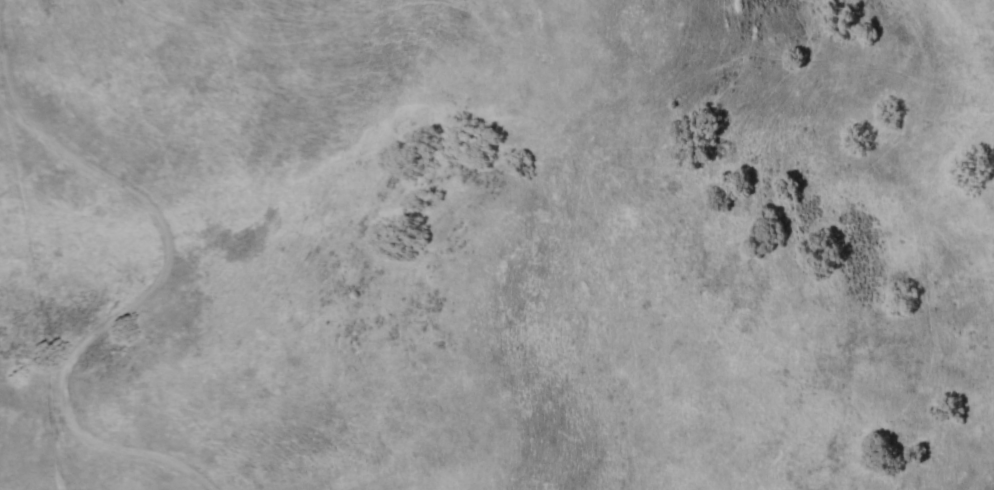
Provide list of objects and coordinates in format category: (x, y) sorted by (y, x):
road: (139, 293)

